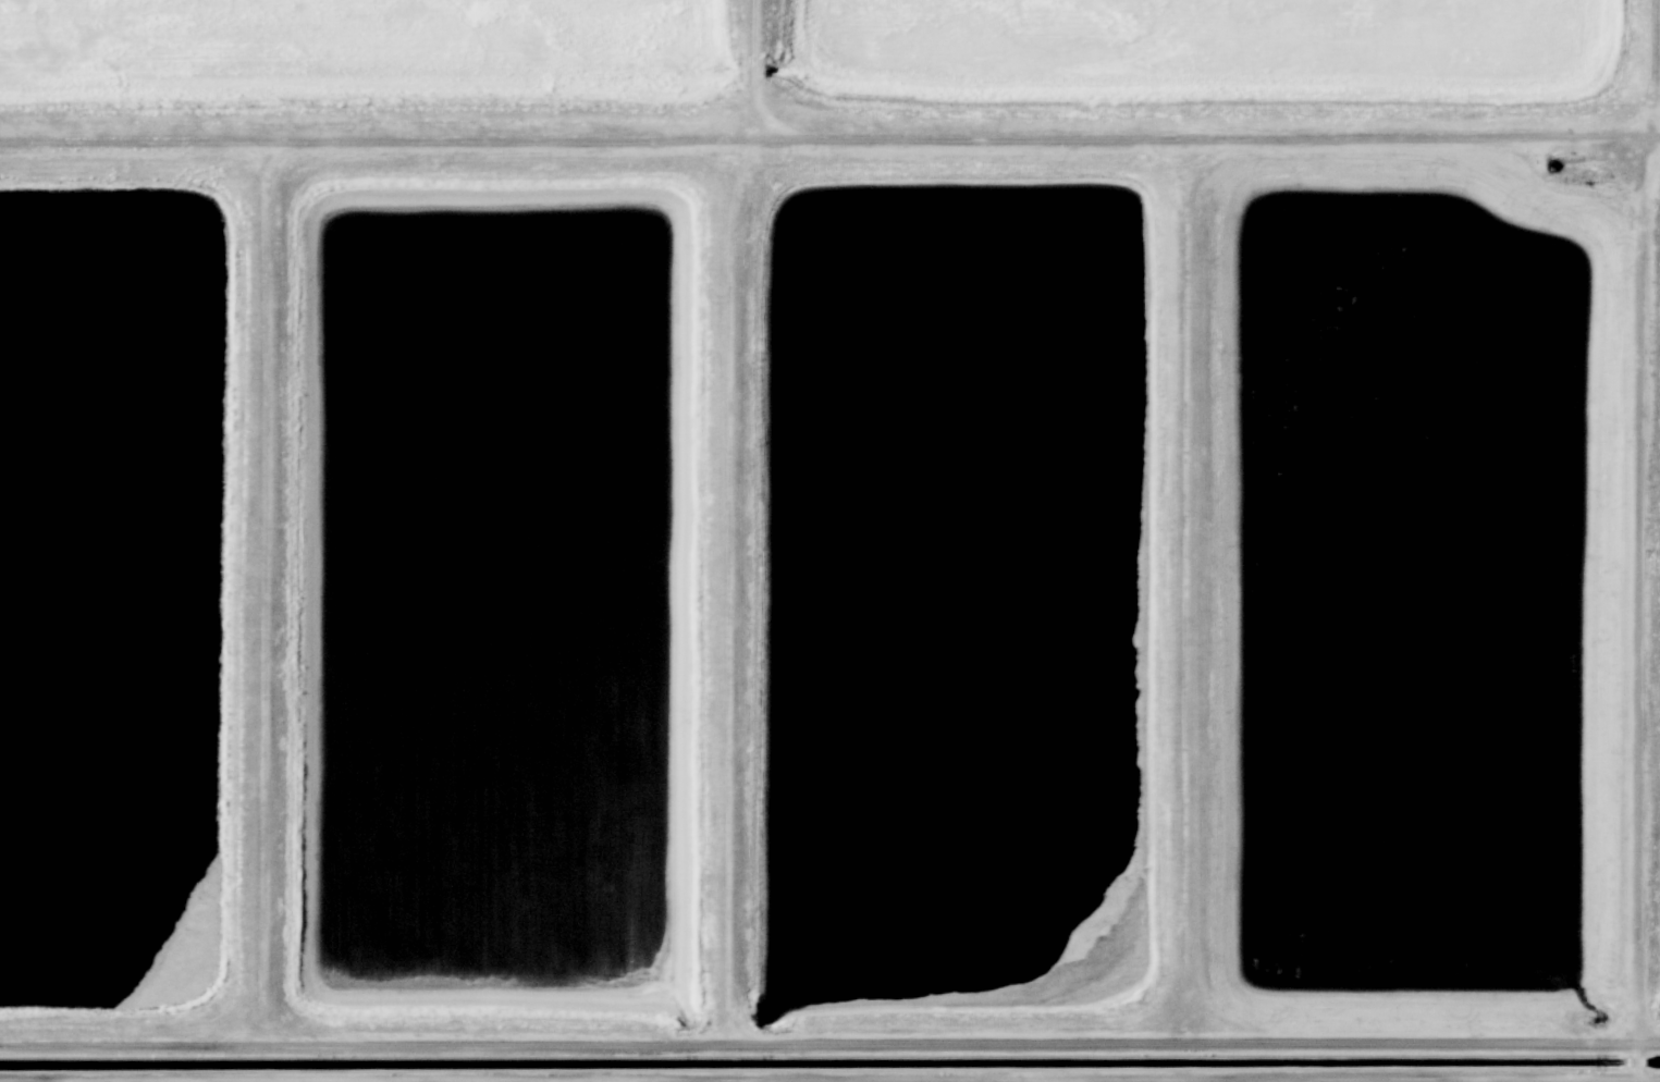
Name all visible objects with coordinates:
road: (753, 38)
wastewater plant: (1188, 39)
wastewater plant: (331, 50)
road: (1658, 53)
road: (1652, 123)
road: (1176, 136)
road: (755, 137)
road: (998, 139)
road: (1653, 139)
road: (132, 145)
road: (261, 514)
wastewater plant: (829, 541)
wastewater plant: (1415, 590)
wastewater plant: (961, 591)
wastewater plant: (503, 593)
wastewater plant: (101, 599)
road: (1184, 600)
road: (1410, 1036)
road: (499, 1040)
road: (829, 1078)
road: (747, 1079)
road: (1639, 1080)

